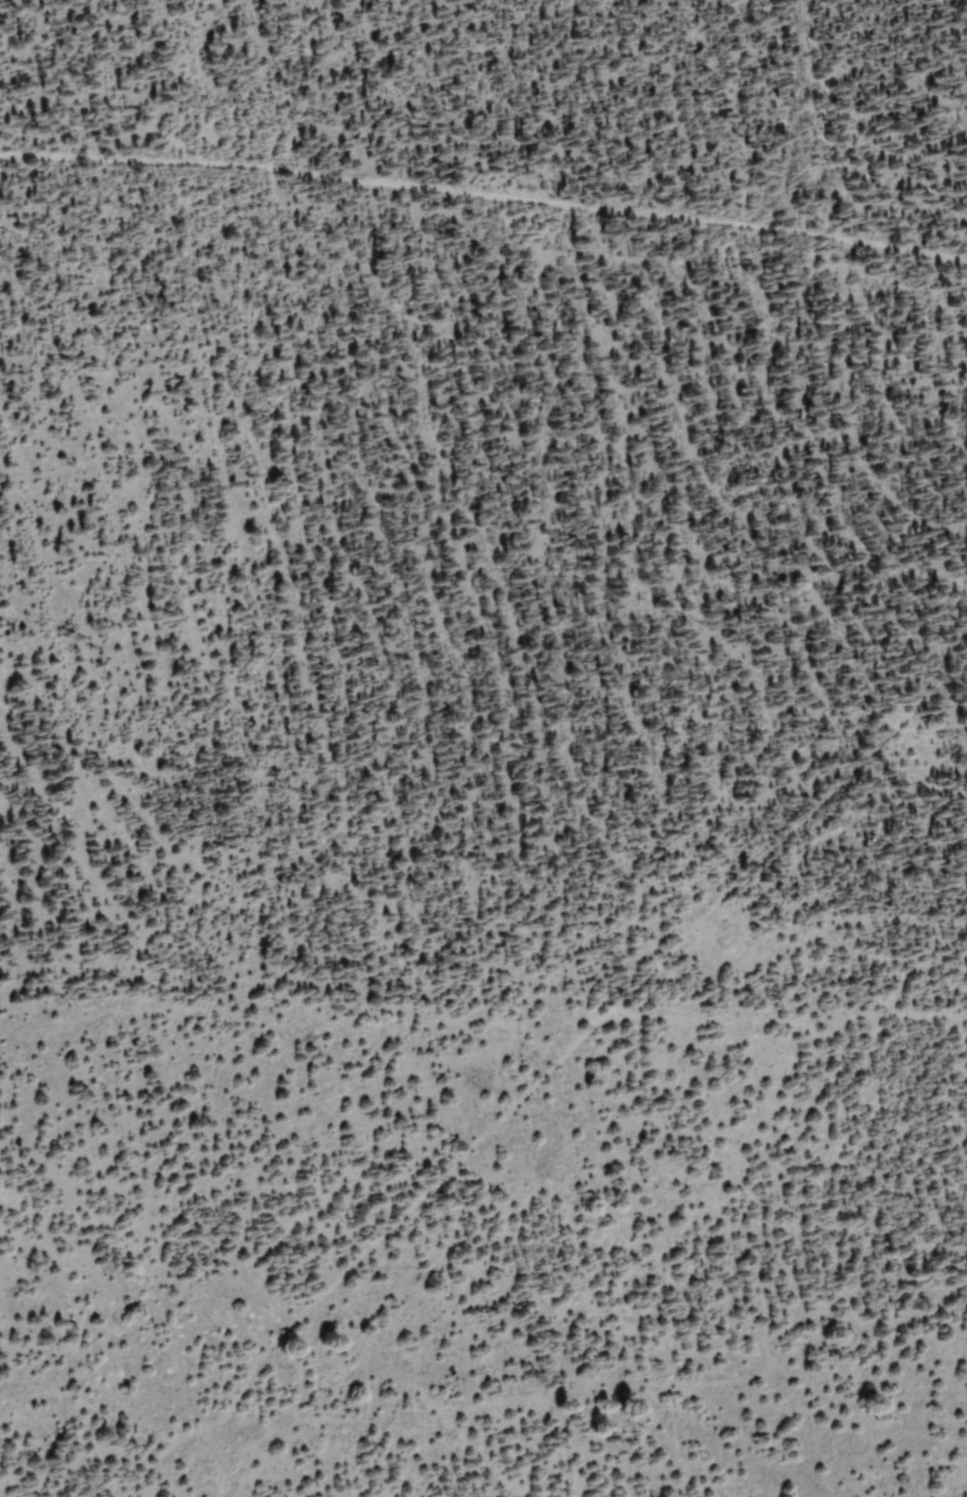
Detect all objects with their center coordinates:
road: (484, 196)

